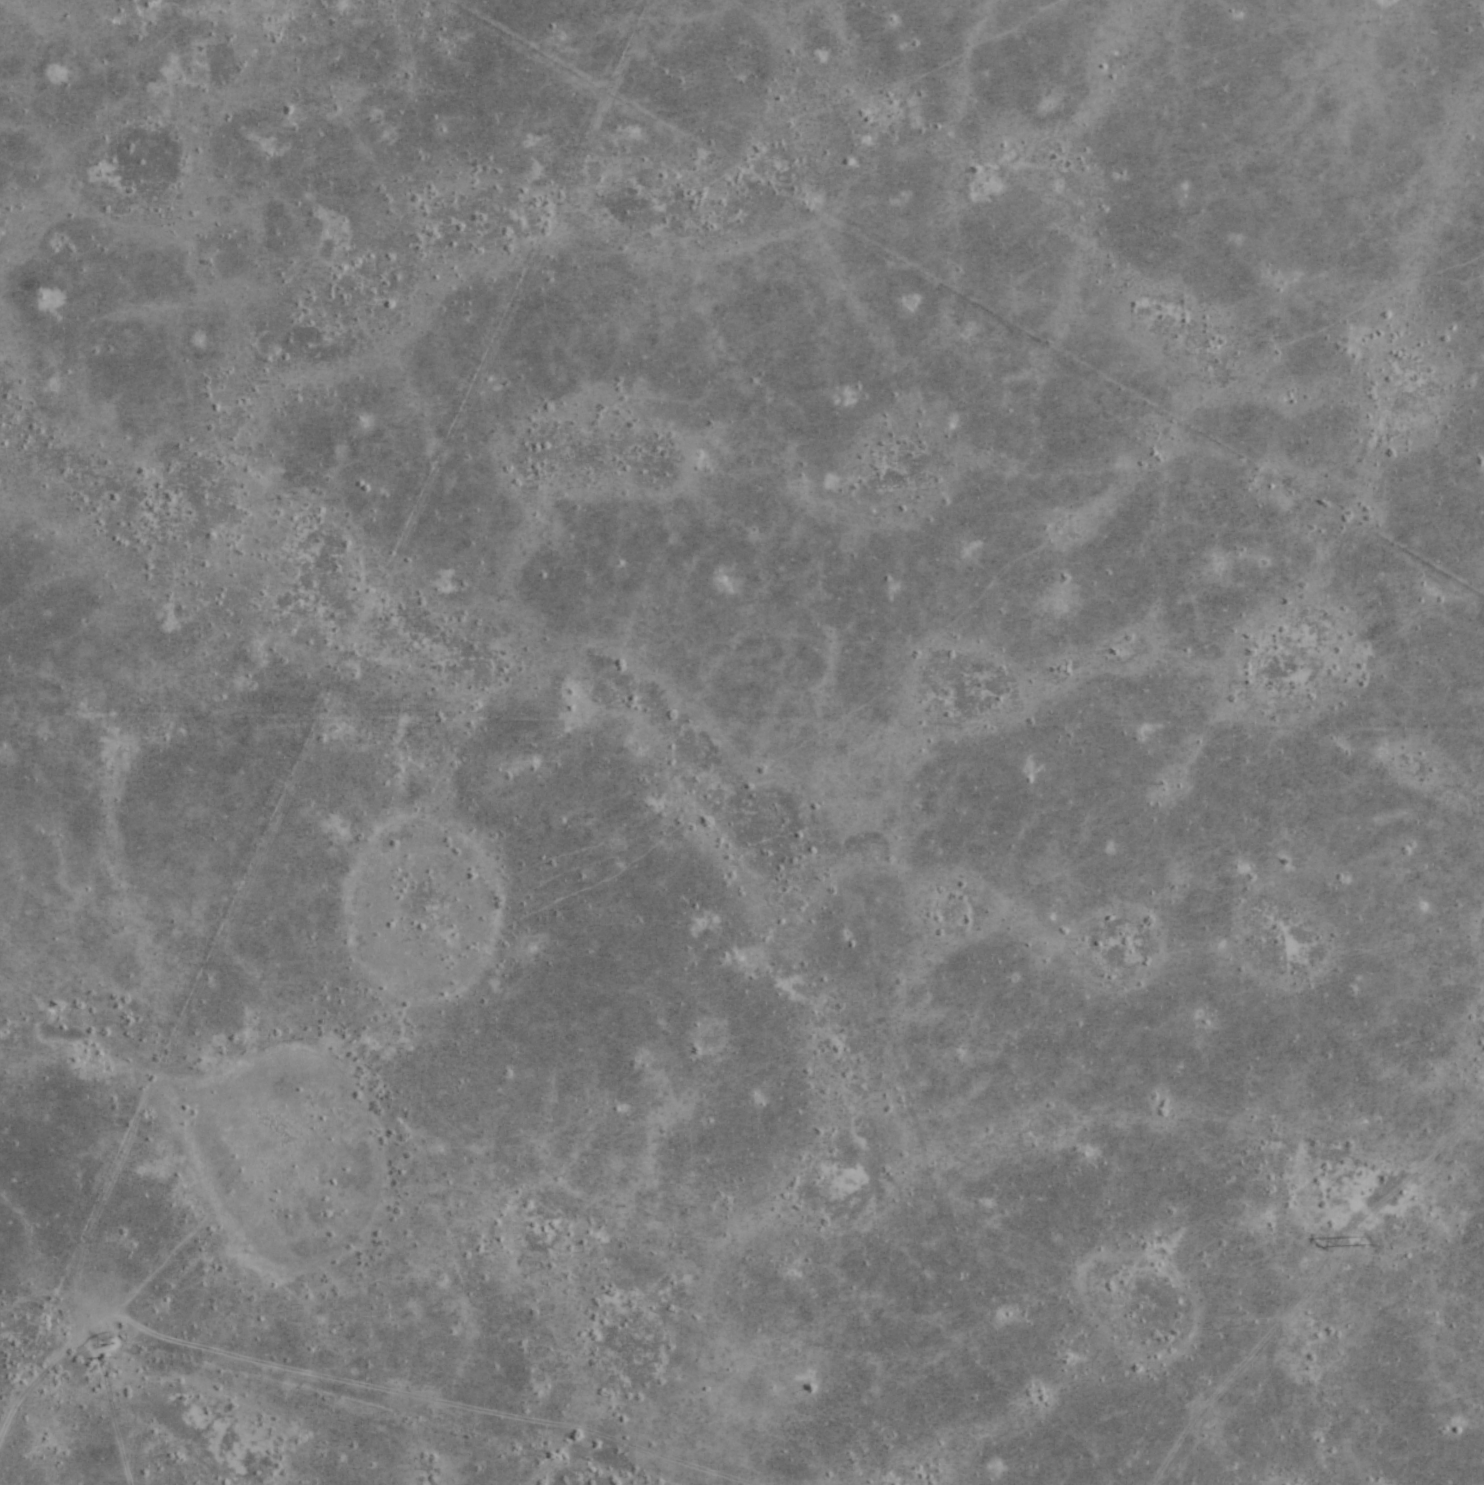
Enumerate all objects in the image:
power tower: (1359, 1244)
road: (274, 1376)

